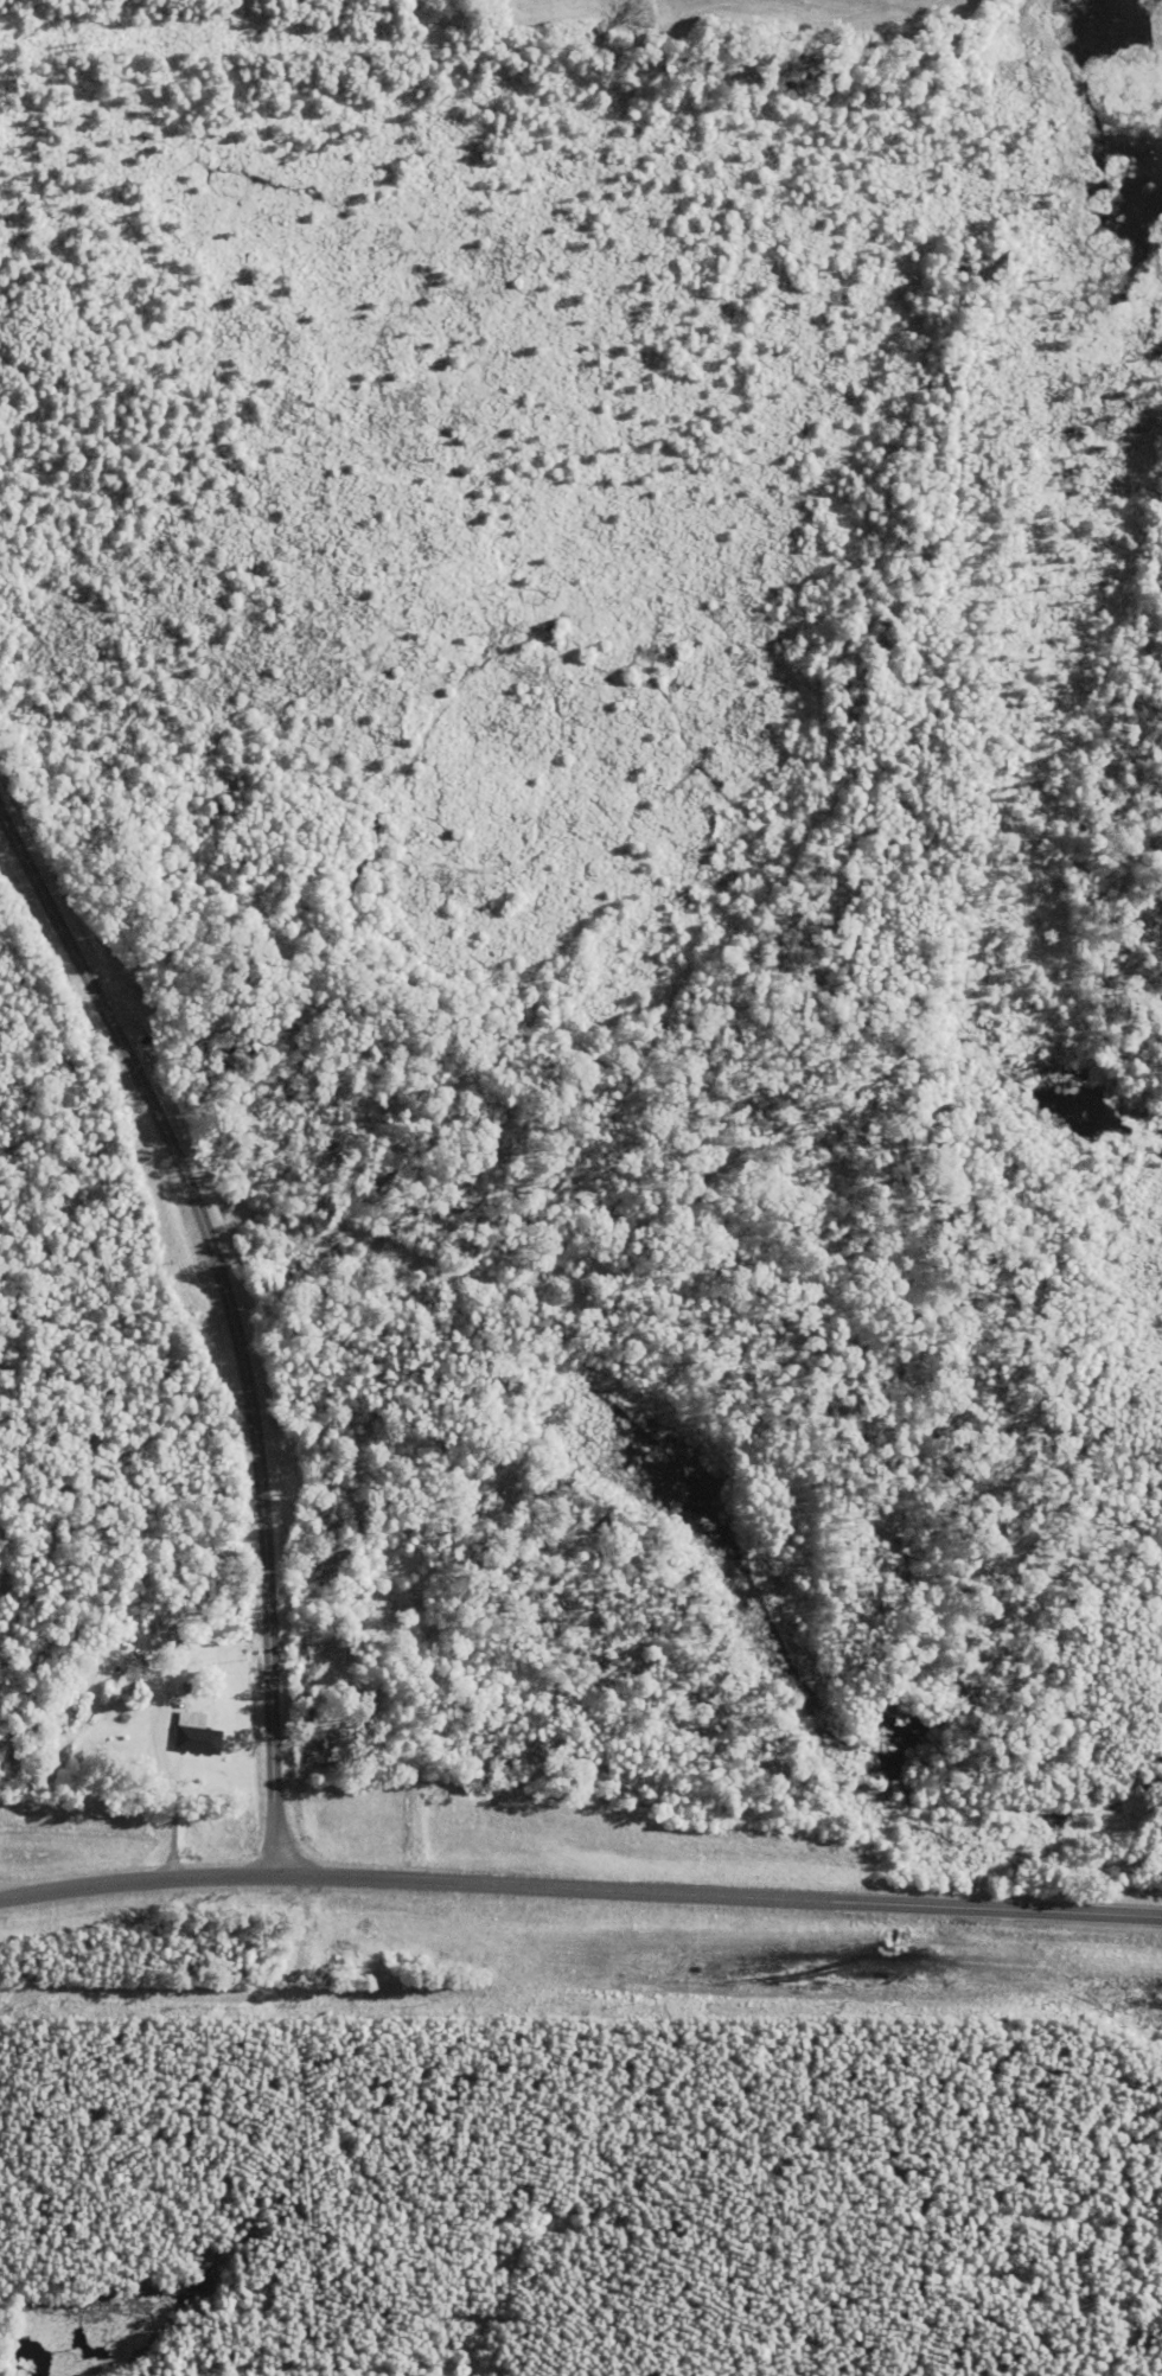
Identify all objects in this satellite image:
road: (230, 1320)
building: (199, 1733)
building: (324, 1754)
road: (625, 1889)
road: (45, 1892)

